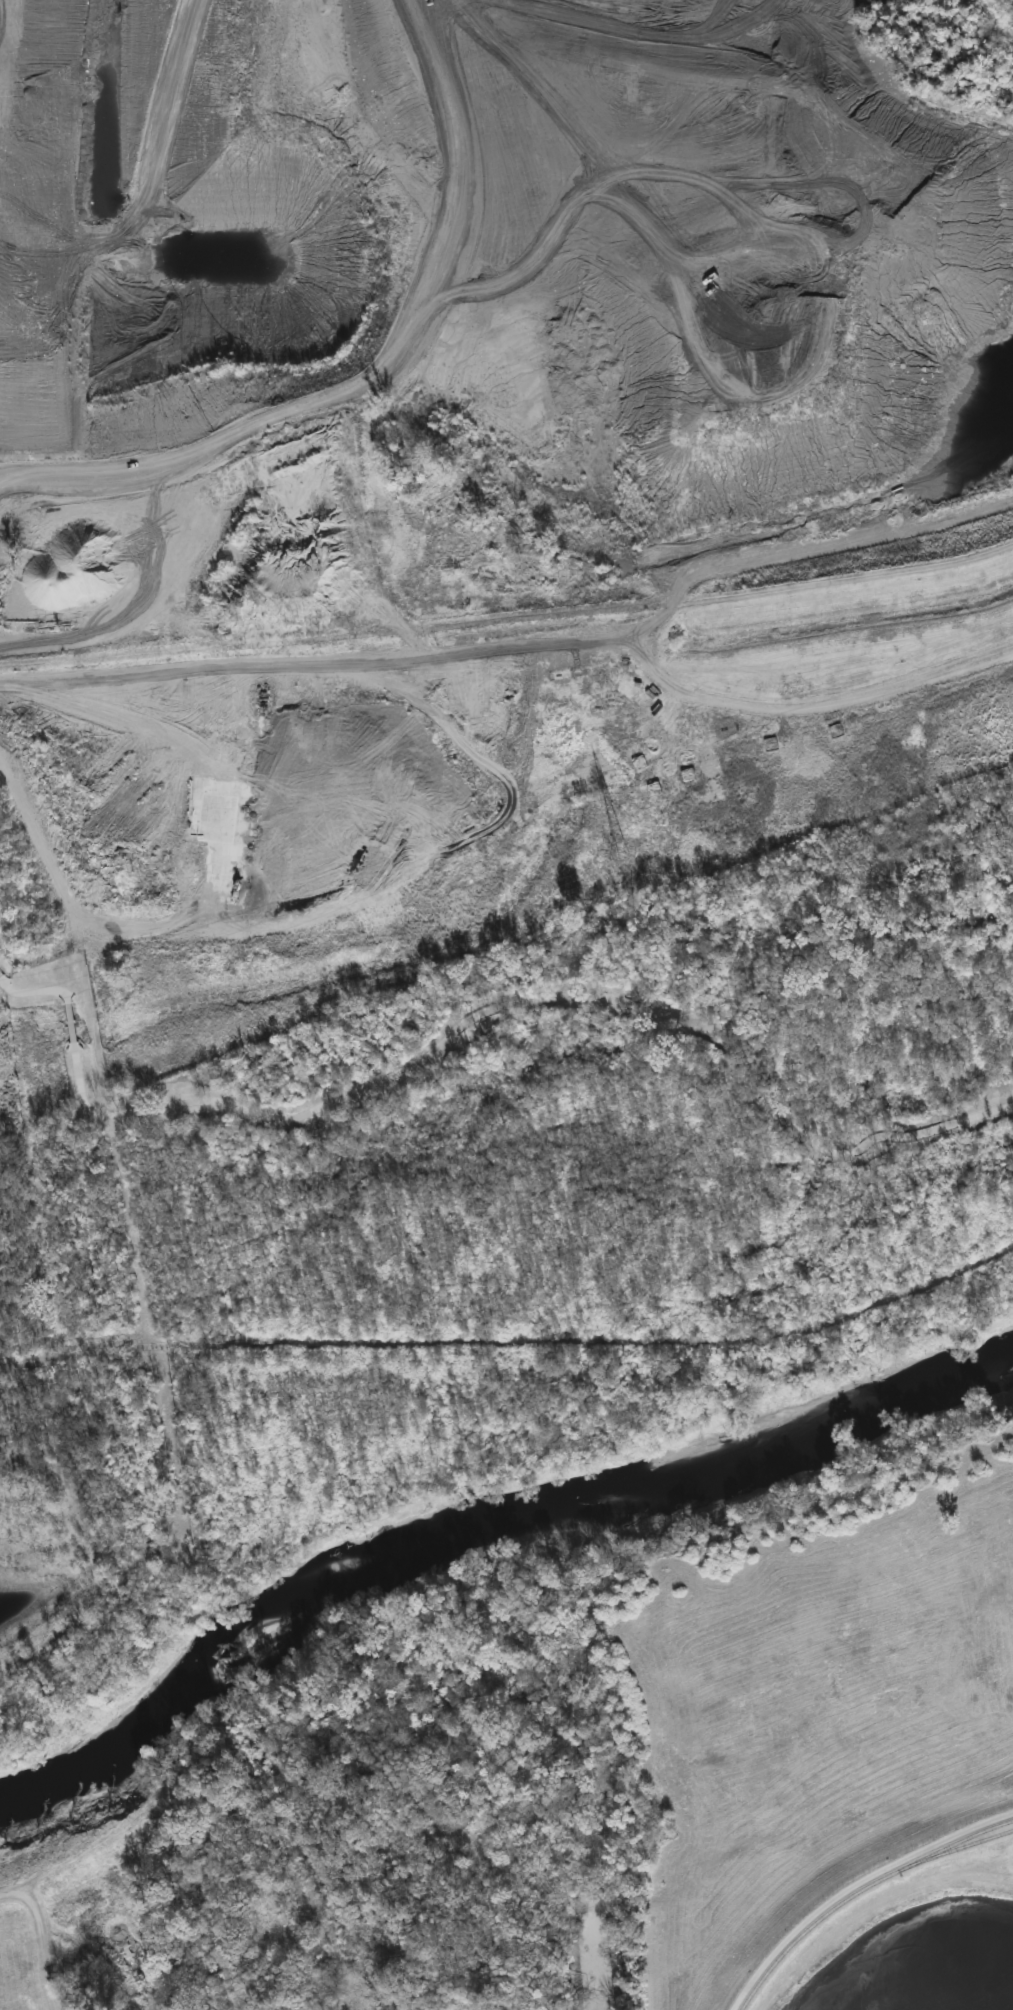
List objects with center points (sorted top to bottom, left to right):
landfill: (482, 300)
power tower: (621, 849)
road: (472, 1017)
river: (476, 1534)
railway: (965, 1837)
road: (855, 1886)
railway: (857, 1891)
wastewater plant: (877, 1902)

